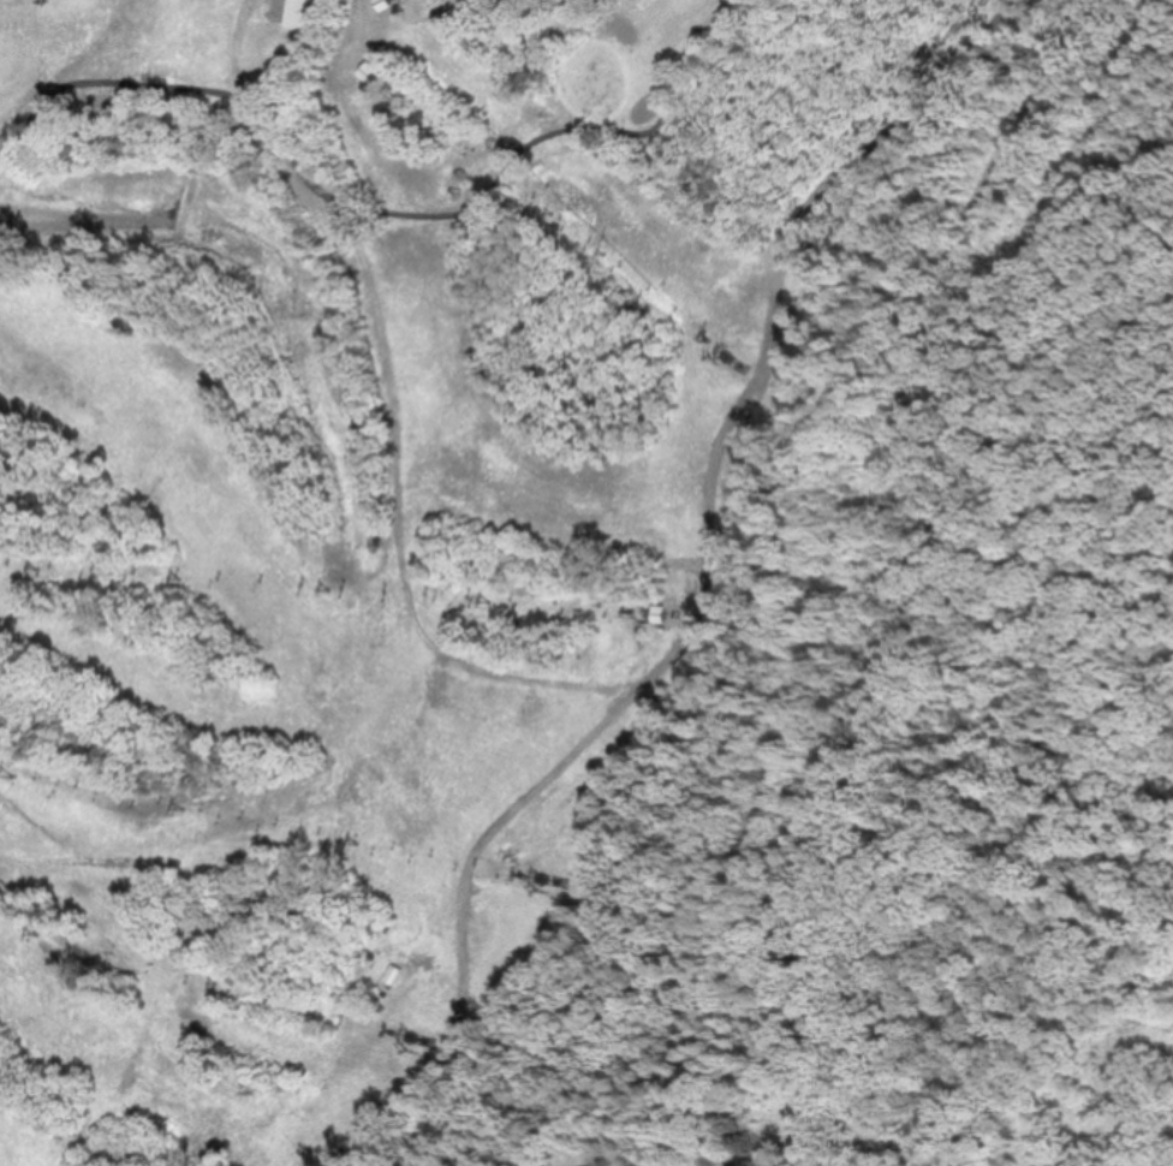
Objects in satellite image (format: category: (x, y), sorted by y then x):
building: (296, 13)
park: (552, 59)
aerialway pylon: (400, 96)
park: (36, 177)
aerialway pylon: (549, 214)
aerialway pylon: (602, 256)
road: (987, 272)
aerialway pylon: (708, 339)
road: (1044, 418)
ski resort: (401, 512)
aerialway pylon: (12, 566)
aerialway pylon: (329, 589)
aerialway pylon: (489, 601)
park: (1006, 722)
aerialway pylon: (14, 772)
aerialway pylon: (185, 804)
aerialway pylon: (362, 838)
road: (897, 874)
aerialway pylon: (41, 932)
aerialway pylon: (219, 981)

